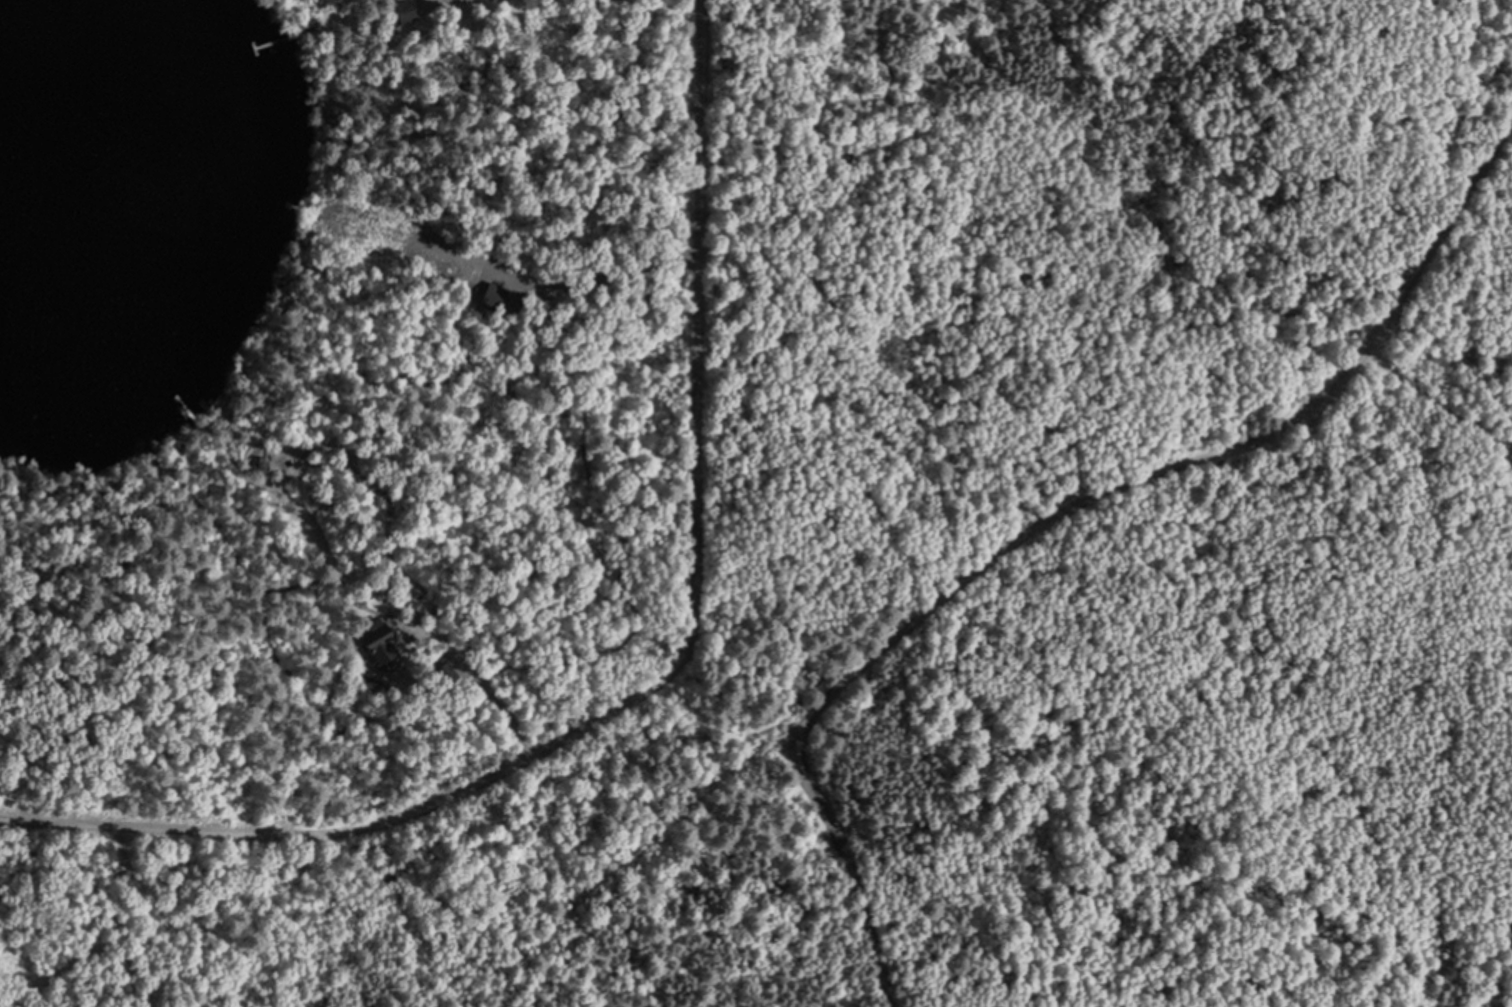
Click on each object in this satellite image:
building: (400, 12)
road: (1052, 516)
building: (370, 637)
road: (657, 680)
road: (487, 688)

